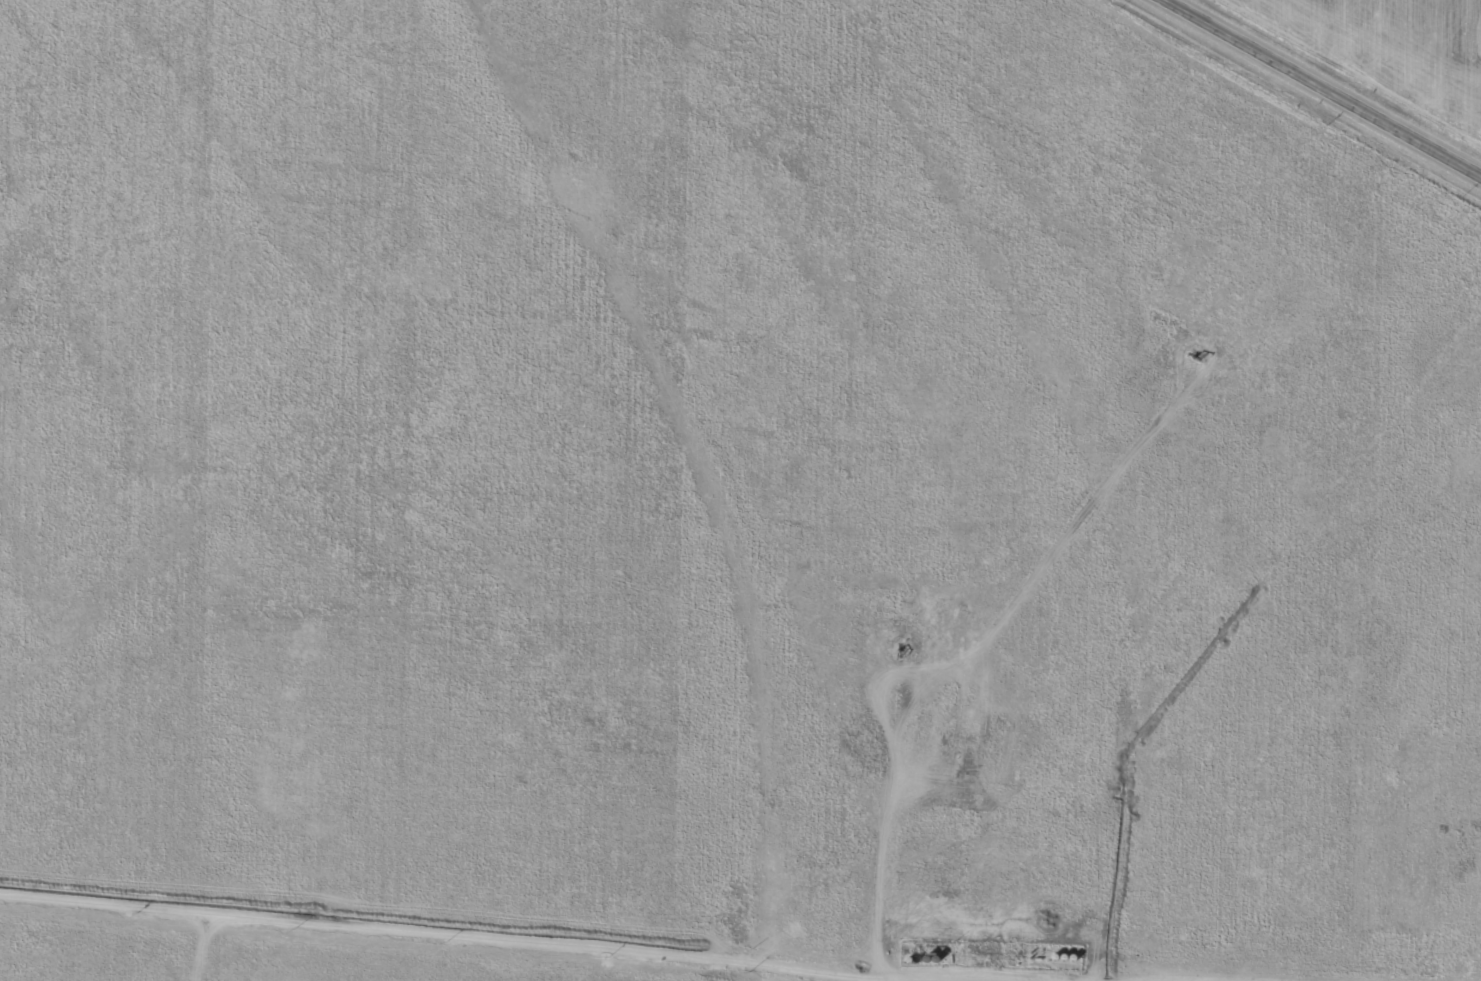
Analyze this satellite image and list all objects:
road: (1325, 86)
road: (740, 588)
road: (581, 923)

